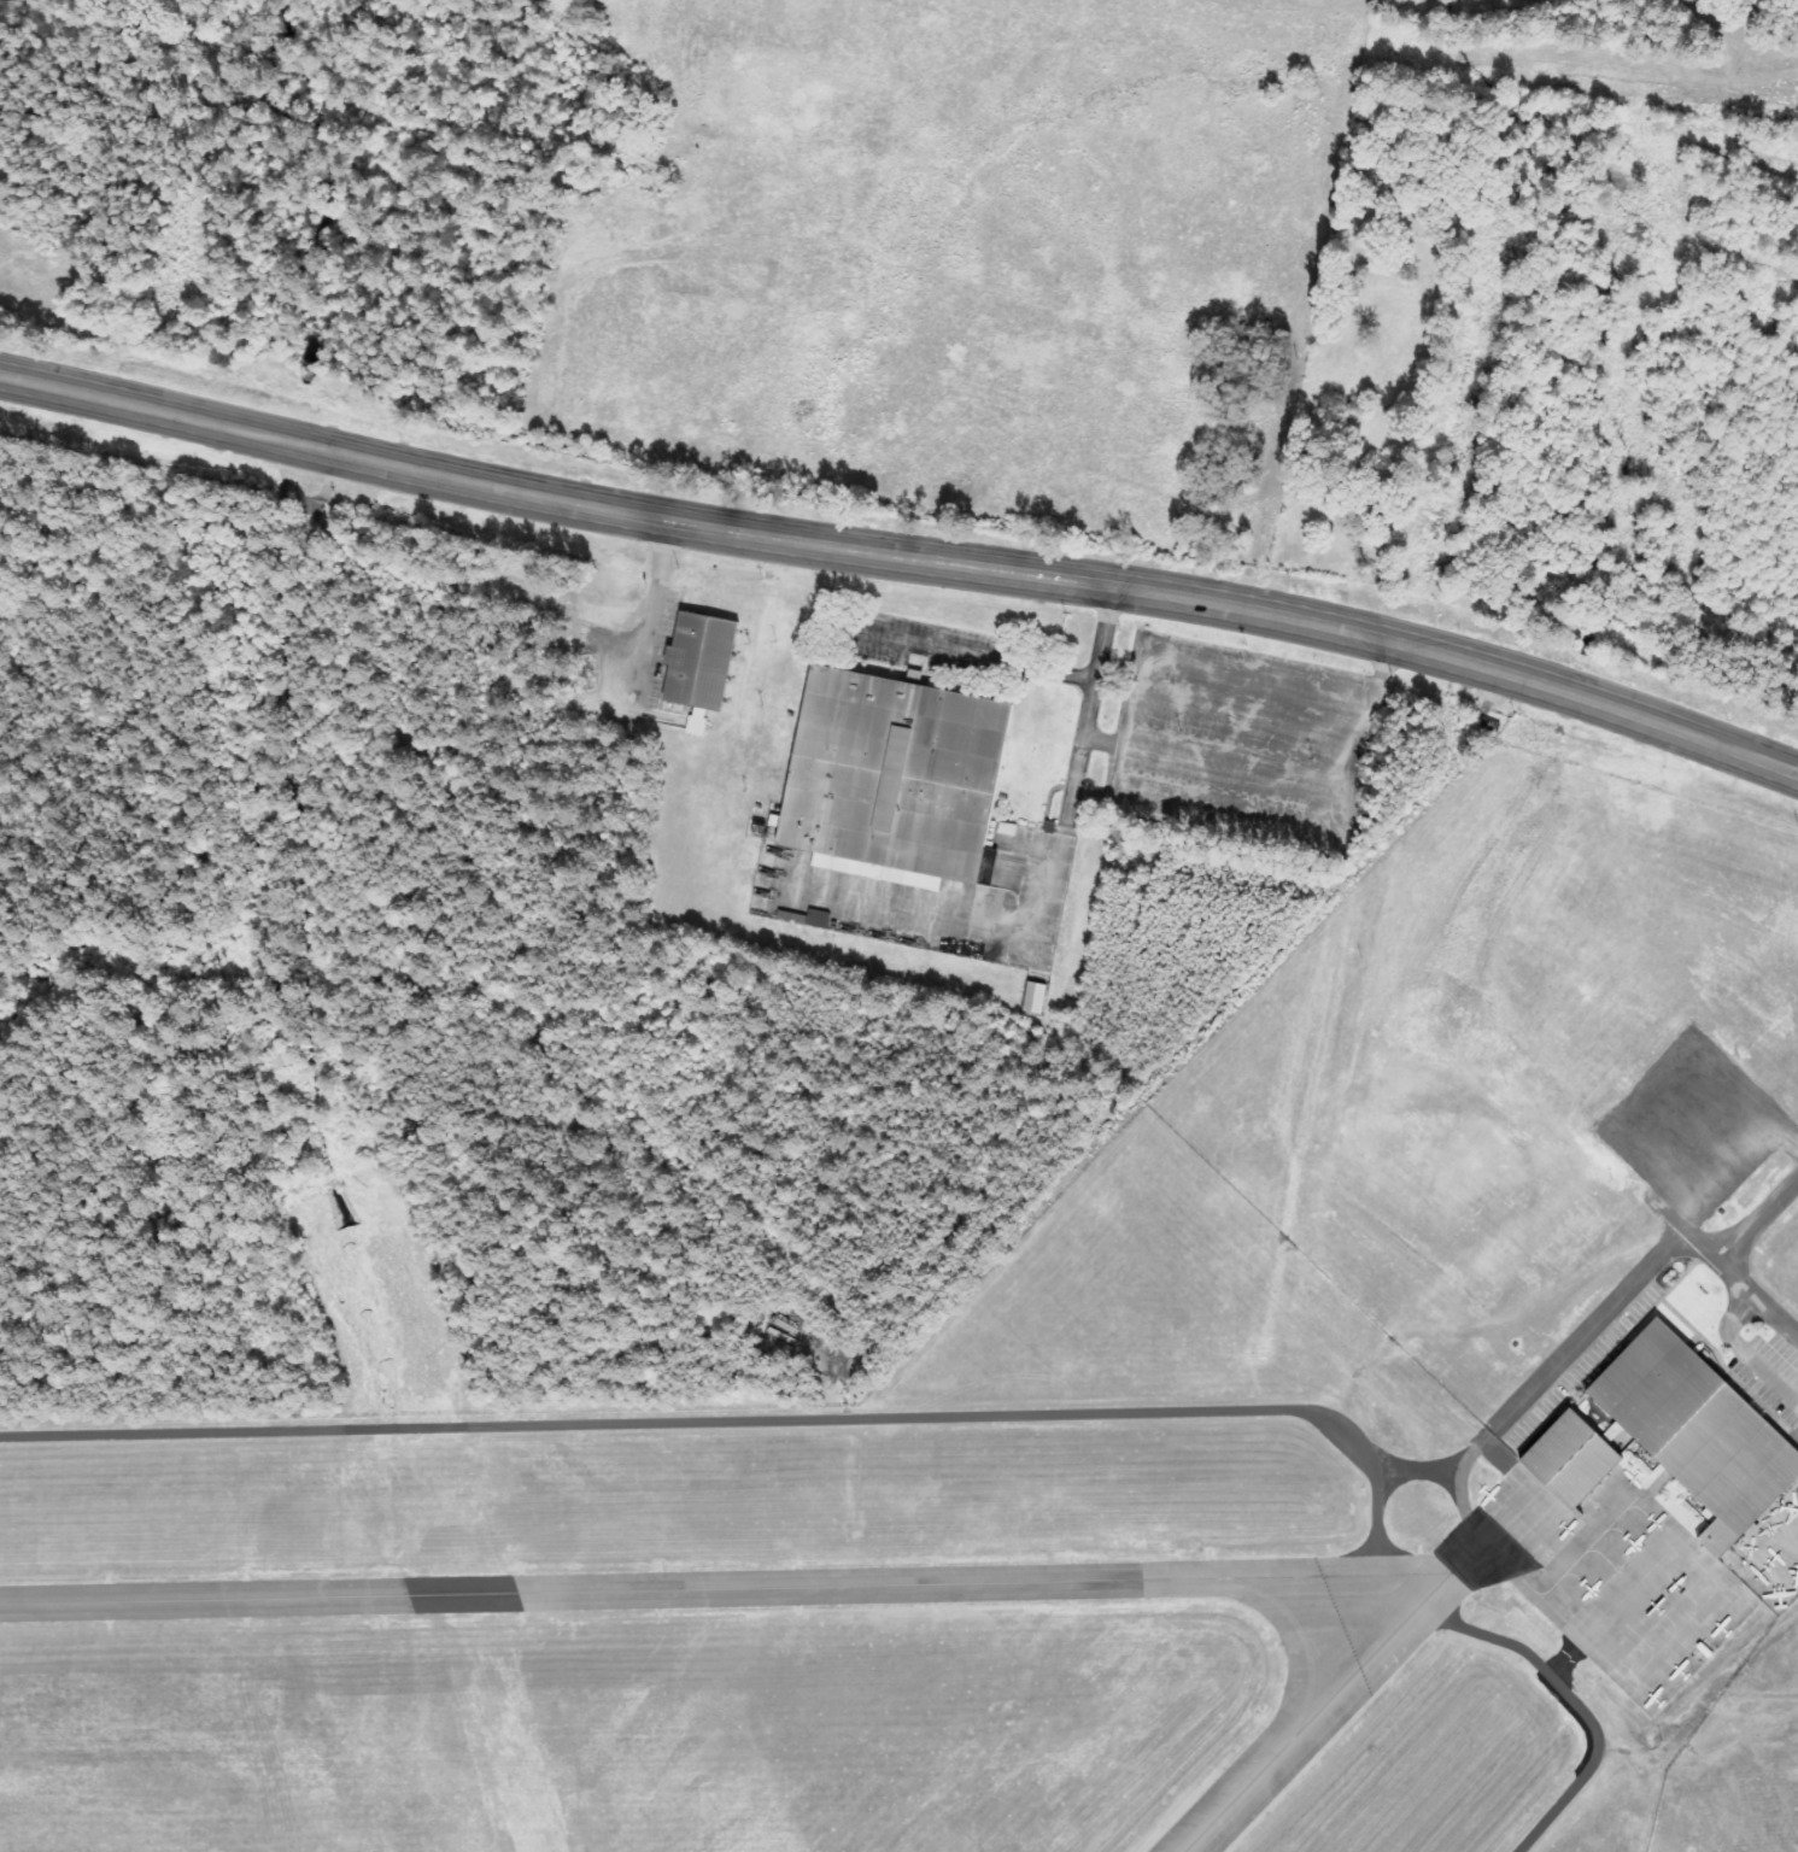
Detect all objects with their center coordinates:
road: (903, 557)
building: (699, 662)
building: (890, 774)
building: (806, 918)
building: (1035, 997)
parking lot: (1693, 1125)
road: (1695, 1130)
road: (1761, 1224)
airport: (828, 1276)
road: (1739, 1280)
road: (1605, 1313)
road: (1776, 1317)
road: (1745, 1352)
parking lot: (1574, 1358)
parking lot: (1769, 1375)
building: (1699, 1431)
airport hangar: (1570, 1459)
building: (1570, 1459)
road: (1462, 1470)
airport apron: (1623, 1575)
airport taxiway: (663, 1590)
road: (1764, 1696)
airport taxiway: (1273, 1754)
road: (1560, 1777)

